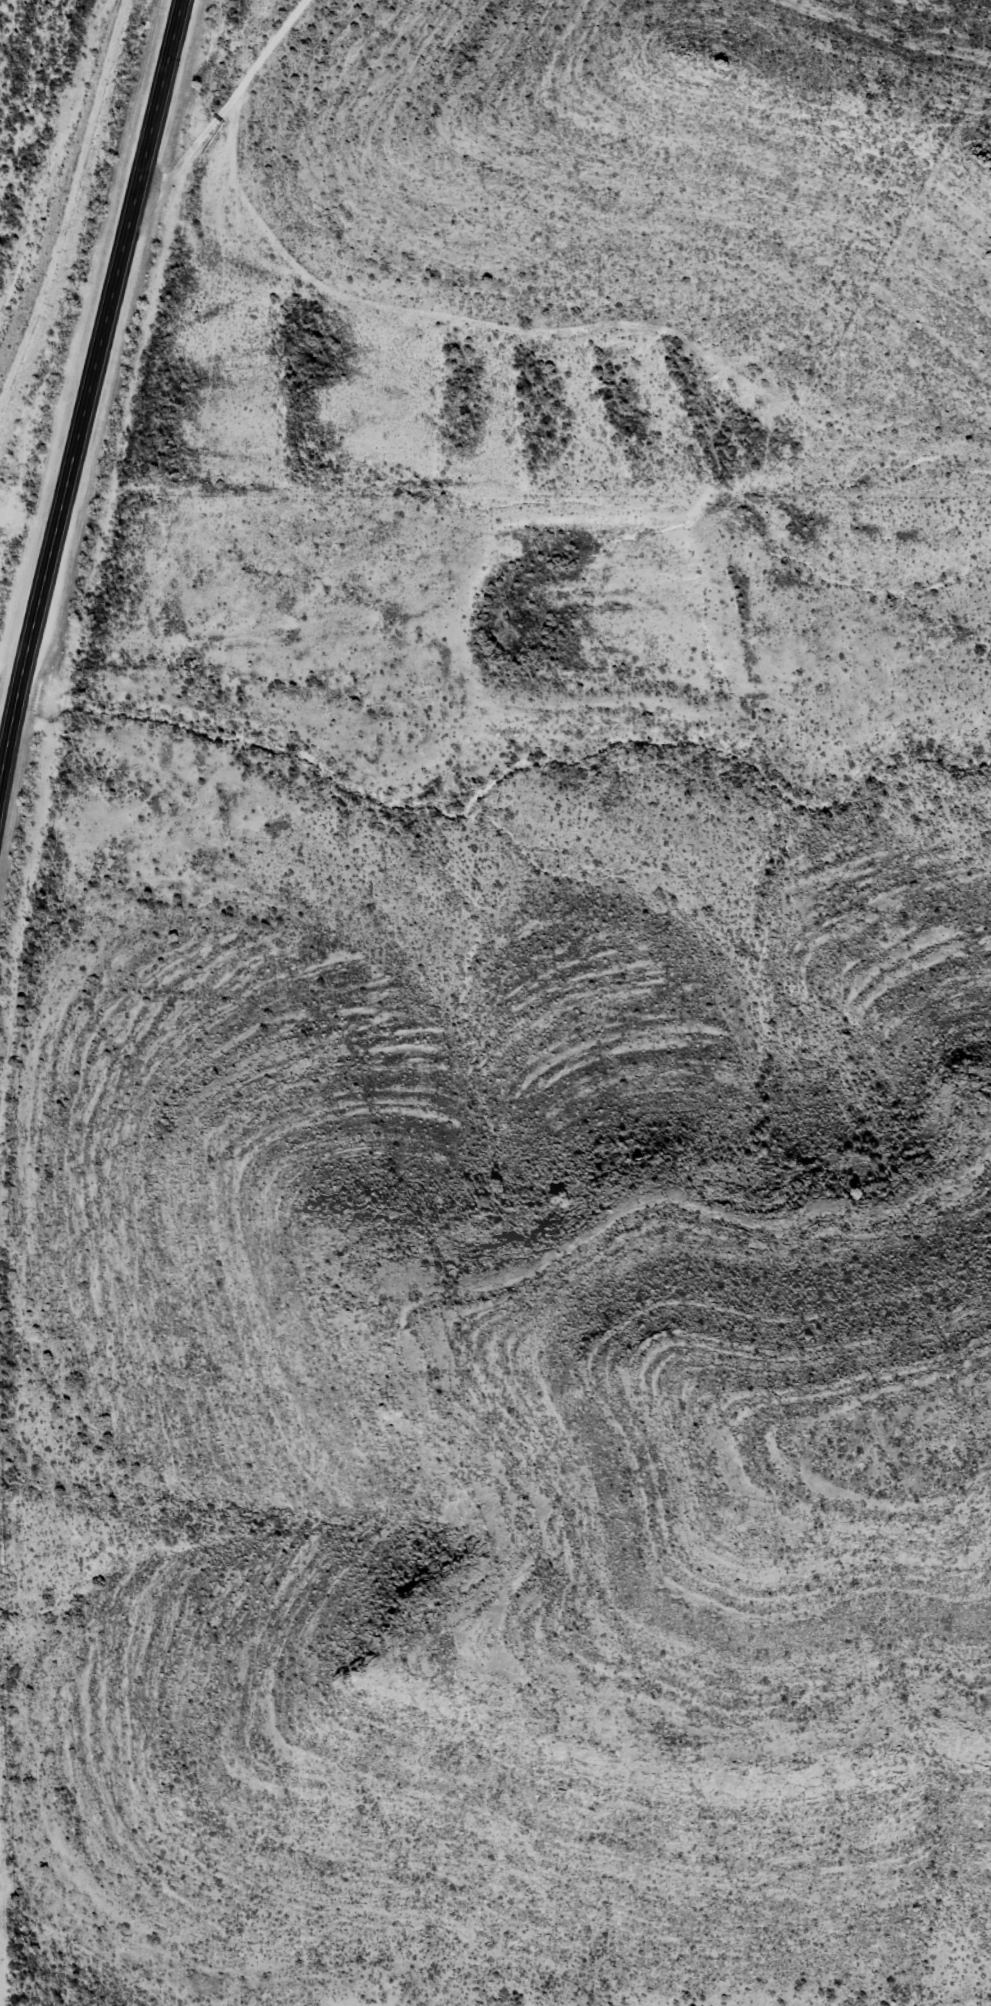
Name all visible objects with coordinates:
road: (226, 103)
road: (88, 387)

